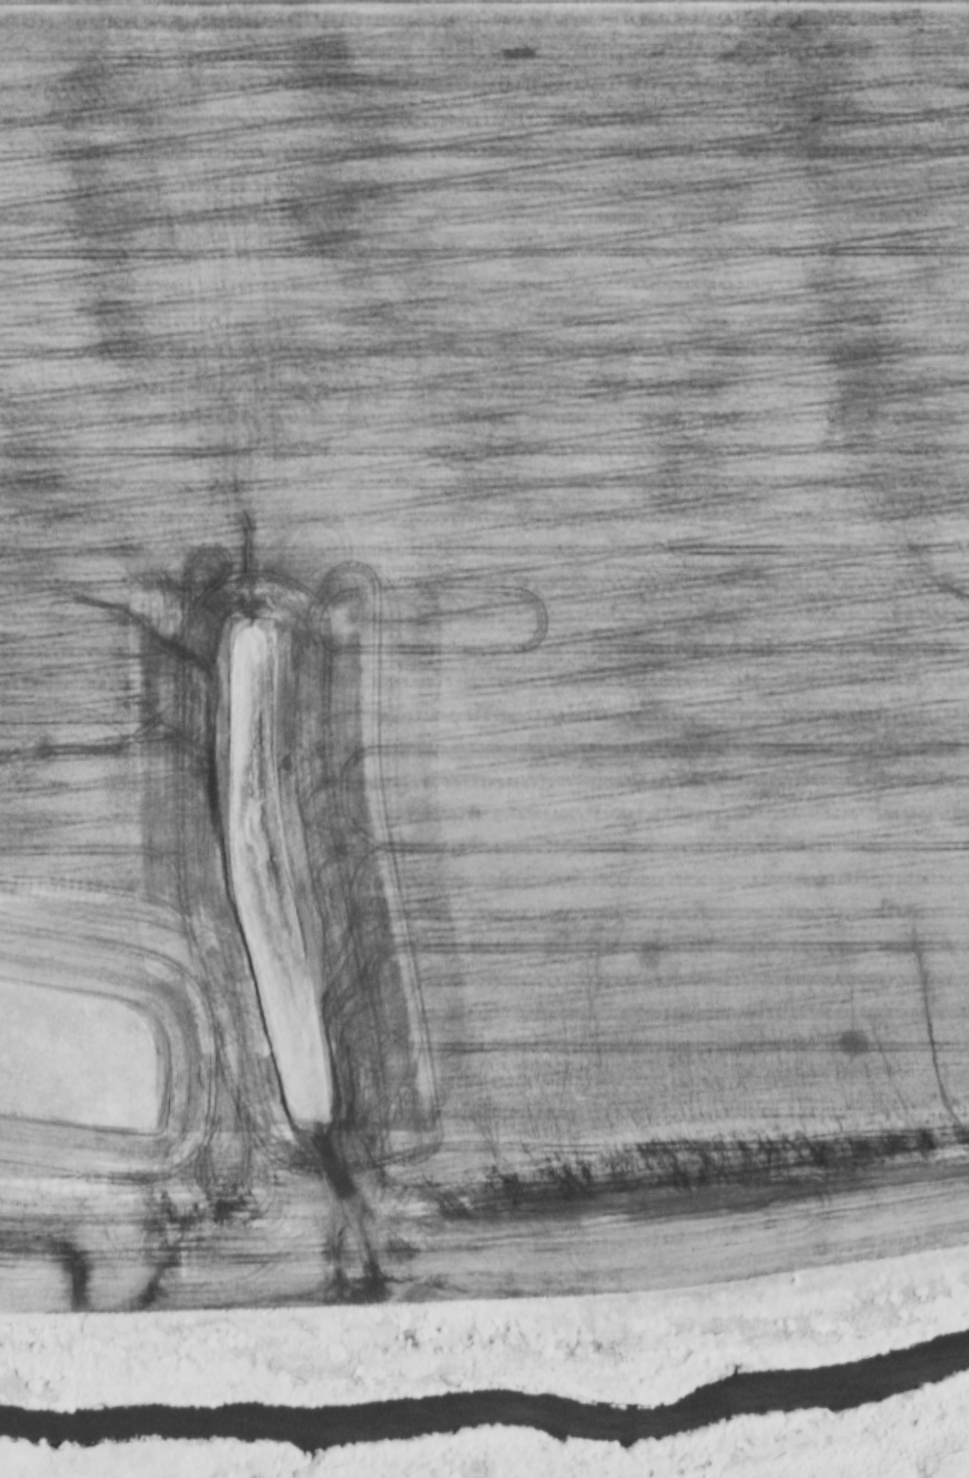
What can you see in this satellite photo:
river: (901, 1362)
river: (582, 1414)
river: (163, 1424)

